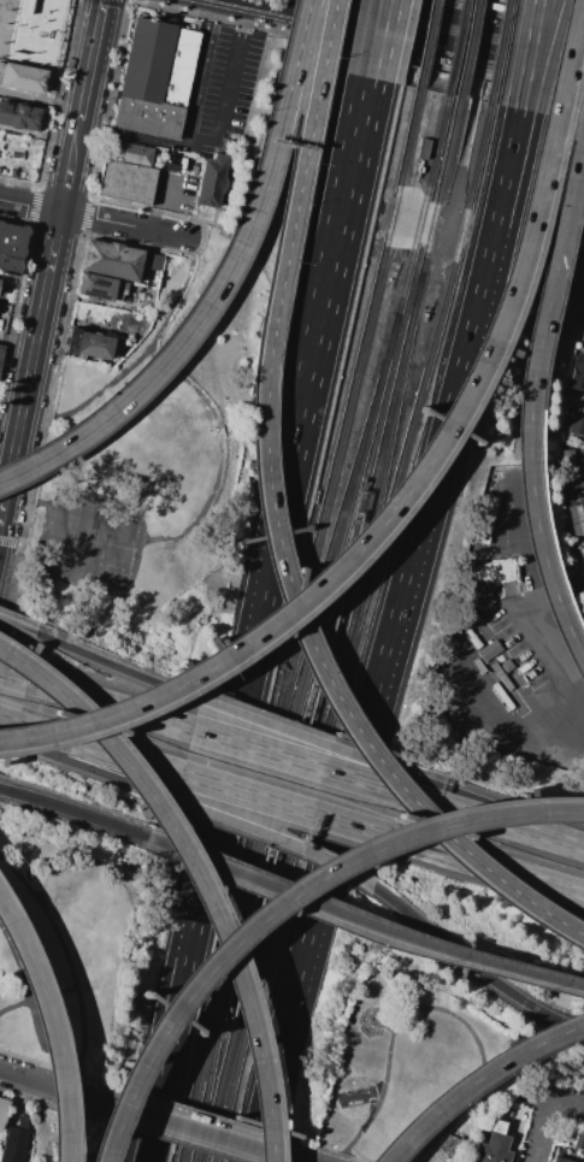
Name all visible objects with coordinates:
road: (437, 6)
road: (480, 20)
building: (33, 29)
road: (406, 36)
road: (364, 37)
road: (385, 40)
railway: (425, 45)
railway: (455, 48)
railway: (466, 49)
railway: (497, 52)
road: (527, 54)
road: (536, 54)
road: (197, 67)
road: (232, 72)
building: (22, 77)
building: (155, 78)
road: (470, 108)
building: (18, 116)
road: (151, 142)
building: (421, 147)
building: (131, 153)
road: (361, 155)
road: (305, 160)
road: (506, 163)
road: (417, 172)
road: (565, 173)
building: (211, 181)
building: (125, 182)
road: (163, 204)
road: (409, 204)
railway: (424, 206)
road: (450, 211)
road: (99, 218)
road: (426, 224)
road: (336, 228)
building: (12, 247)
road: (49, 256)
building: (111, 260)
building: (154, 261)
road: (511, 278)
building: (99, 288)
road: (222, 288)
road: (330, 306)
road: (424, 309)
road: (17, 338)
building: (87, 343)
building: (1, 355)
road: (136, 360)
building: (576, 373)
building: (576, 430)
railway: (340, 440)
park: (151, 448)
road: (436, 452)
road: (220, 455)
road: (580, 476)
road: (531, 480)
railway: (376, 502)
parking lot: (576, 506)
building: (576, 519)
building: (484, 520)
park: (92, 541)
road: (42, 544)
building: (582, 550)
railway: (329, 553)
road: (19, 561)
building: (490, 571)
building: (466, 612)
building: (470, 619)
road: (14, 620)
railway: (335, 631)
building: (467, 632)
railway: (352, 633)
building: (472, 641)
building: (486, 650)
road: (214, 660)
road: (548, 660)
road: (113, 662)
building: (477, 665)
building: (503, 666)
road: (16, 674)
building: (499, 676)
road: (328, 682)
building: (500, 696)
road: (111, 706)
road: (7, 720)
road: (238, 726)
road: (6, 731)
railway: (288, 737)
road: (99, 748)
road: (314, 750)
road: (311, 766)
road: (93, 768)
road: (46, 802)
road: (295, 809)
road: (507, 824)
road: (273, 838)
road: (496, 869)
road: (228, 871)
road: (194, 874)
road: (281, 903)
road: (311, 924)
road: (11, 926)
park: (58, 950)
road: (473, 963)
road: (70, 966)
road: (472, 966)
railway: (218, 975)
road: (37, 1001)
road: (433, 1010)
park: (441, 1016)
road: (55, 1051)
road: (477, 1081)
road: (48, 1087)
building: (4, 1114)
road: (542, 1114)
parking lot: (545, 1116)
road: (148, 1117)
road: (154, 1117)
building: (22, 1123)
road: (196, 1132)
building: (579, 1138)
building: (12, 1145)
building: (492, 1146)
building: (560, 1158)
parking lot: (583, 1158)

